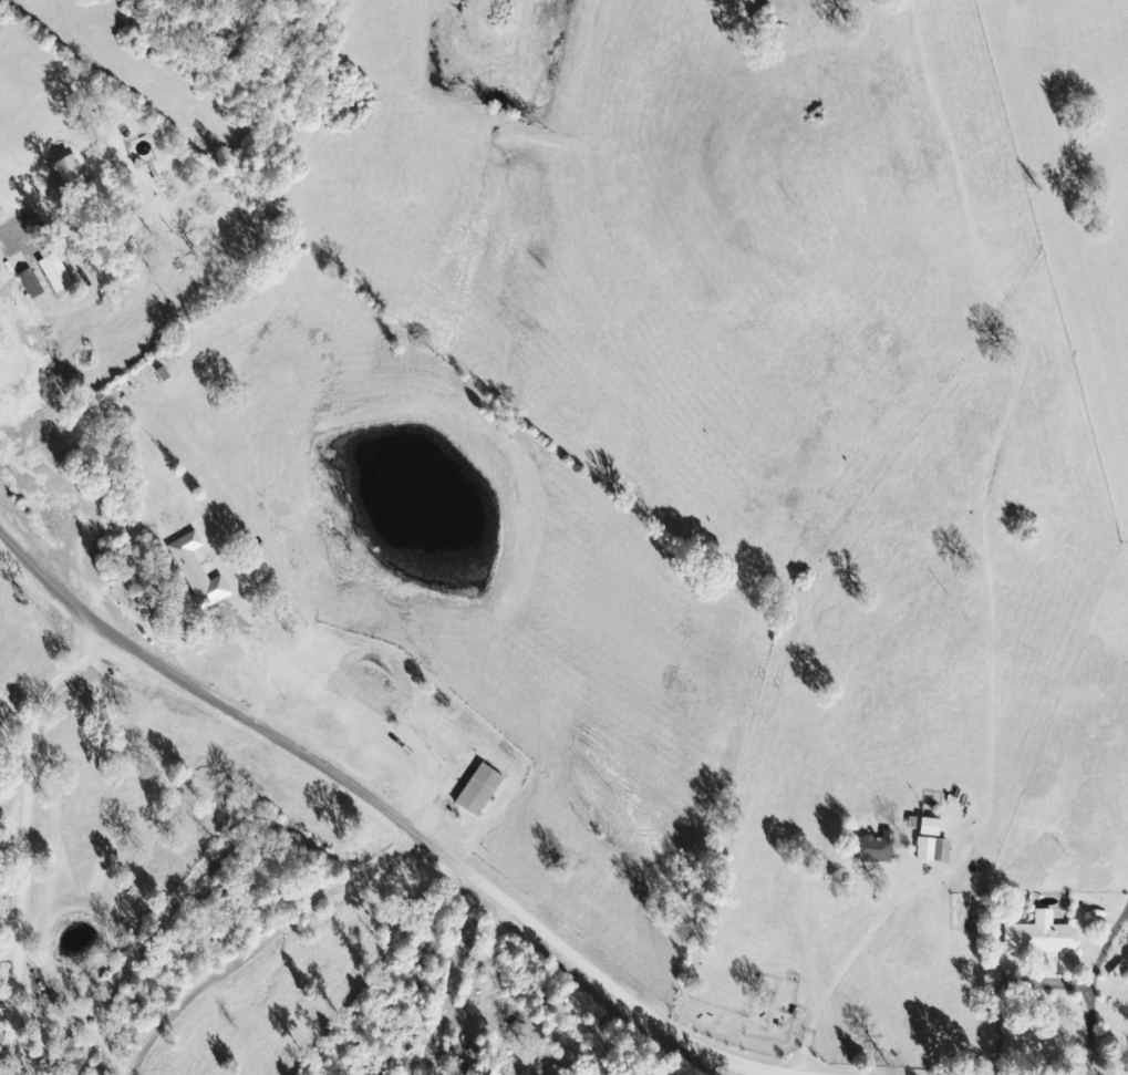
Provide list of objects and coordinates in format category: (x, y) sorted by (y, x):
building: (81, 183)
building: (59, 273)
building: (33, 285)
building: (0, 353)
building: (198, 572)
building: (482, 789)
road: (468, 838)
building: (935, 843)
building: (877, 848)
road: (89, 876)
building: (1045, 936)

